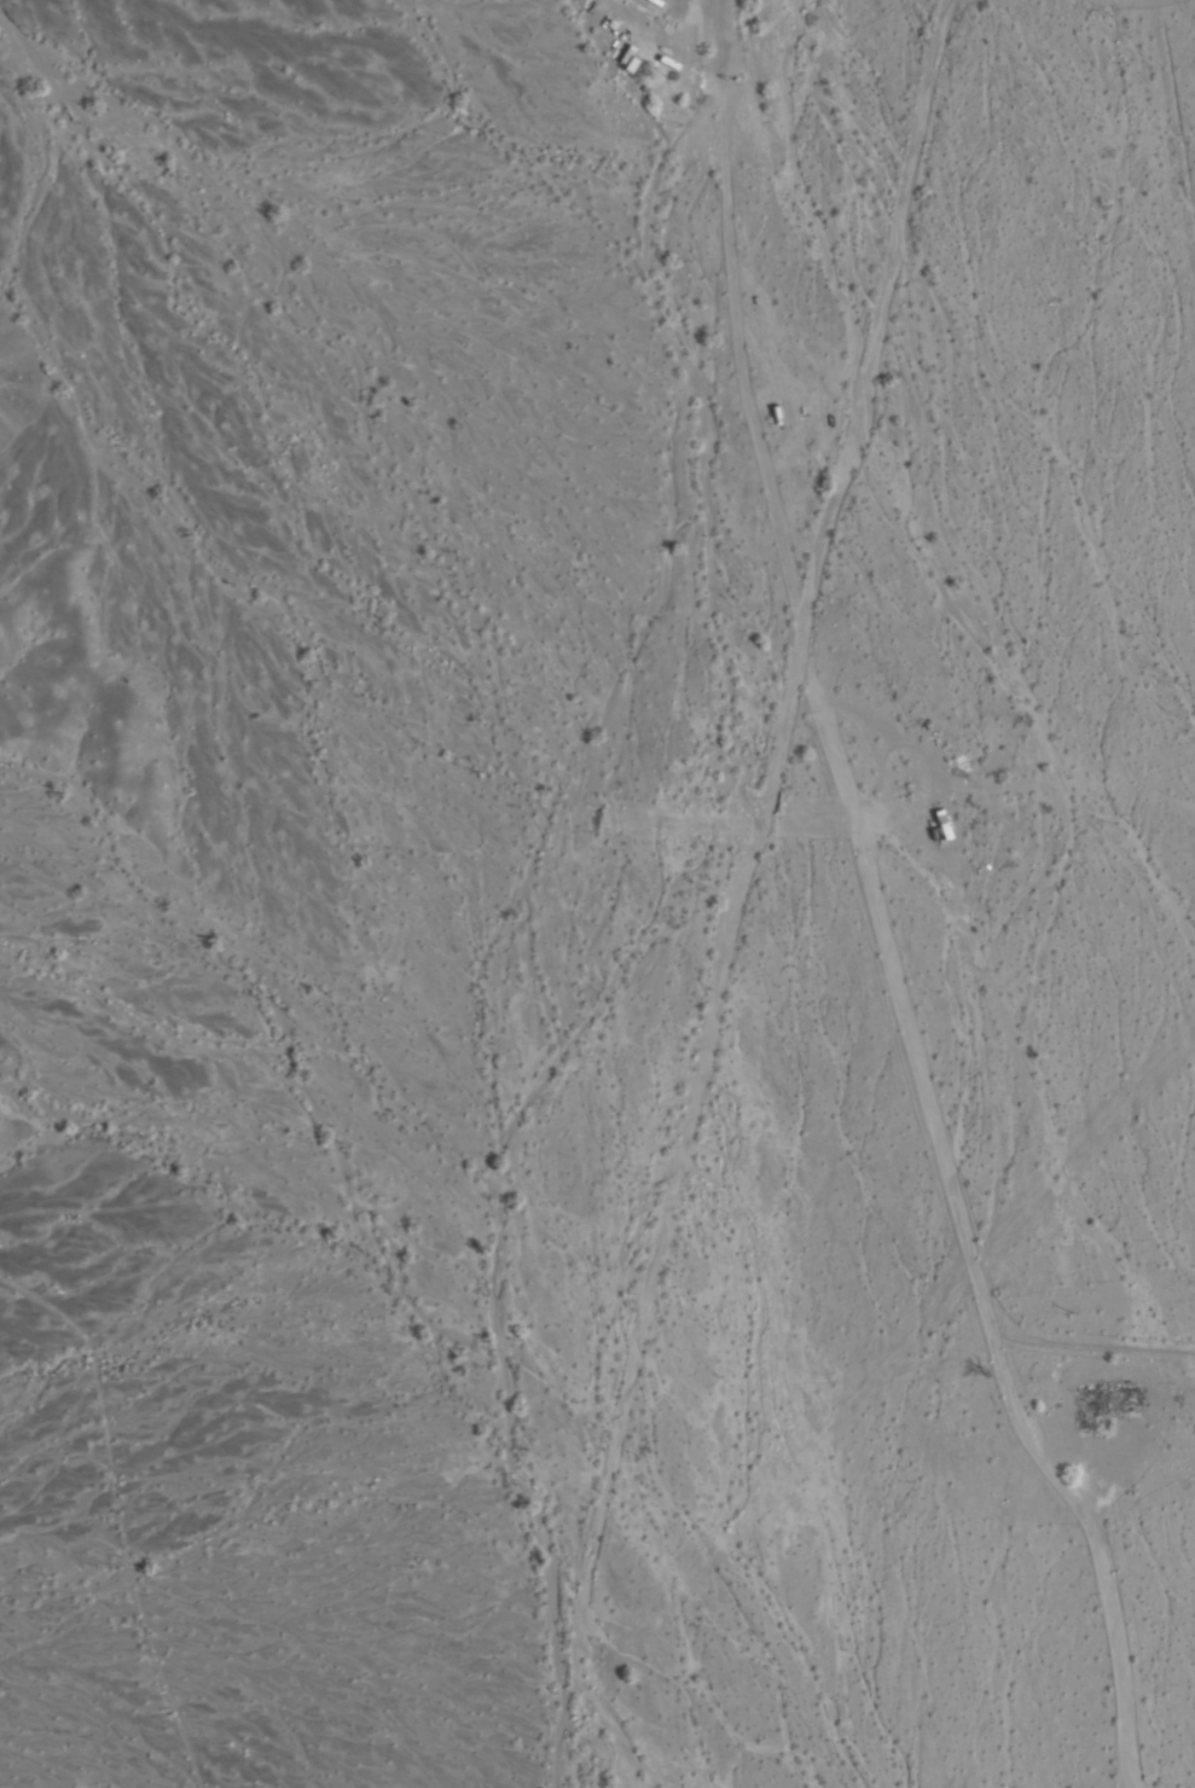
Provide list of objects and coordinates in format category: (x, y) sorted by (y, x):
building: (666, 1)
building: (942, 825)
building: (1104, 1406)

